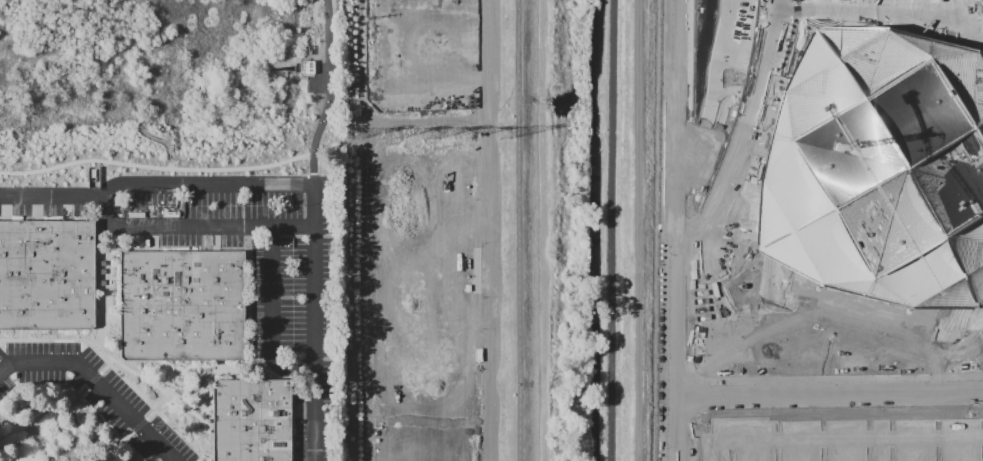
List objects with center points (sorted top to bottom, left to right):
building: (309, 66)
power tower: (434, 133)
power tower: (356, 134)
power tower: (394, 134)
power tower: (467, 134)
power tower: (503, 135)
road: (232, 144)
road: (310, 166)
building: (878, 170)
road: (224, 183)
parking lot: (44, 196)
road: (265, 226)
road: (518, 230)
road: (642, 230)
road: (674, 230)
road: (202, 238)
road: (151, 239)
road: (106, 250)
road: (150, 250)
road: (105, 255)
road: (97, 266)
building: (46, 275)
parking lot: (262, 275)
road: (102, 278)
building: (181, 305)
road: (104, 310)
road: (819, 312)
road: (273, 314)
road: (97, 319)
road: (111, 319)
road: (14, 340)
road: (66, 340)
road: (56, 346)
road: (249, 362)
road: (221, 368)
road: (185, 370)
road: (236, 374)
road: (136, 375)
road: (97, 382)
road: (89, 383)
road: (205, 384)
road: (136, 392)
parking lot: (93, 393)
road: (828, 394)
road: (183, 402)
road: (204, 403)
road: (57, 409)
road: (151, 414)
building: (252, 420)
road: (9, 431)
parking lot: (835, 436)
road: (114, 444)
road: (106, 458)

